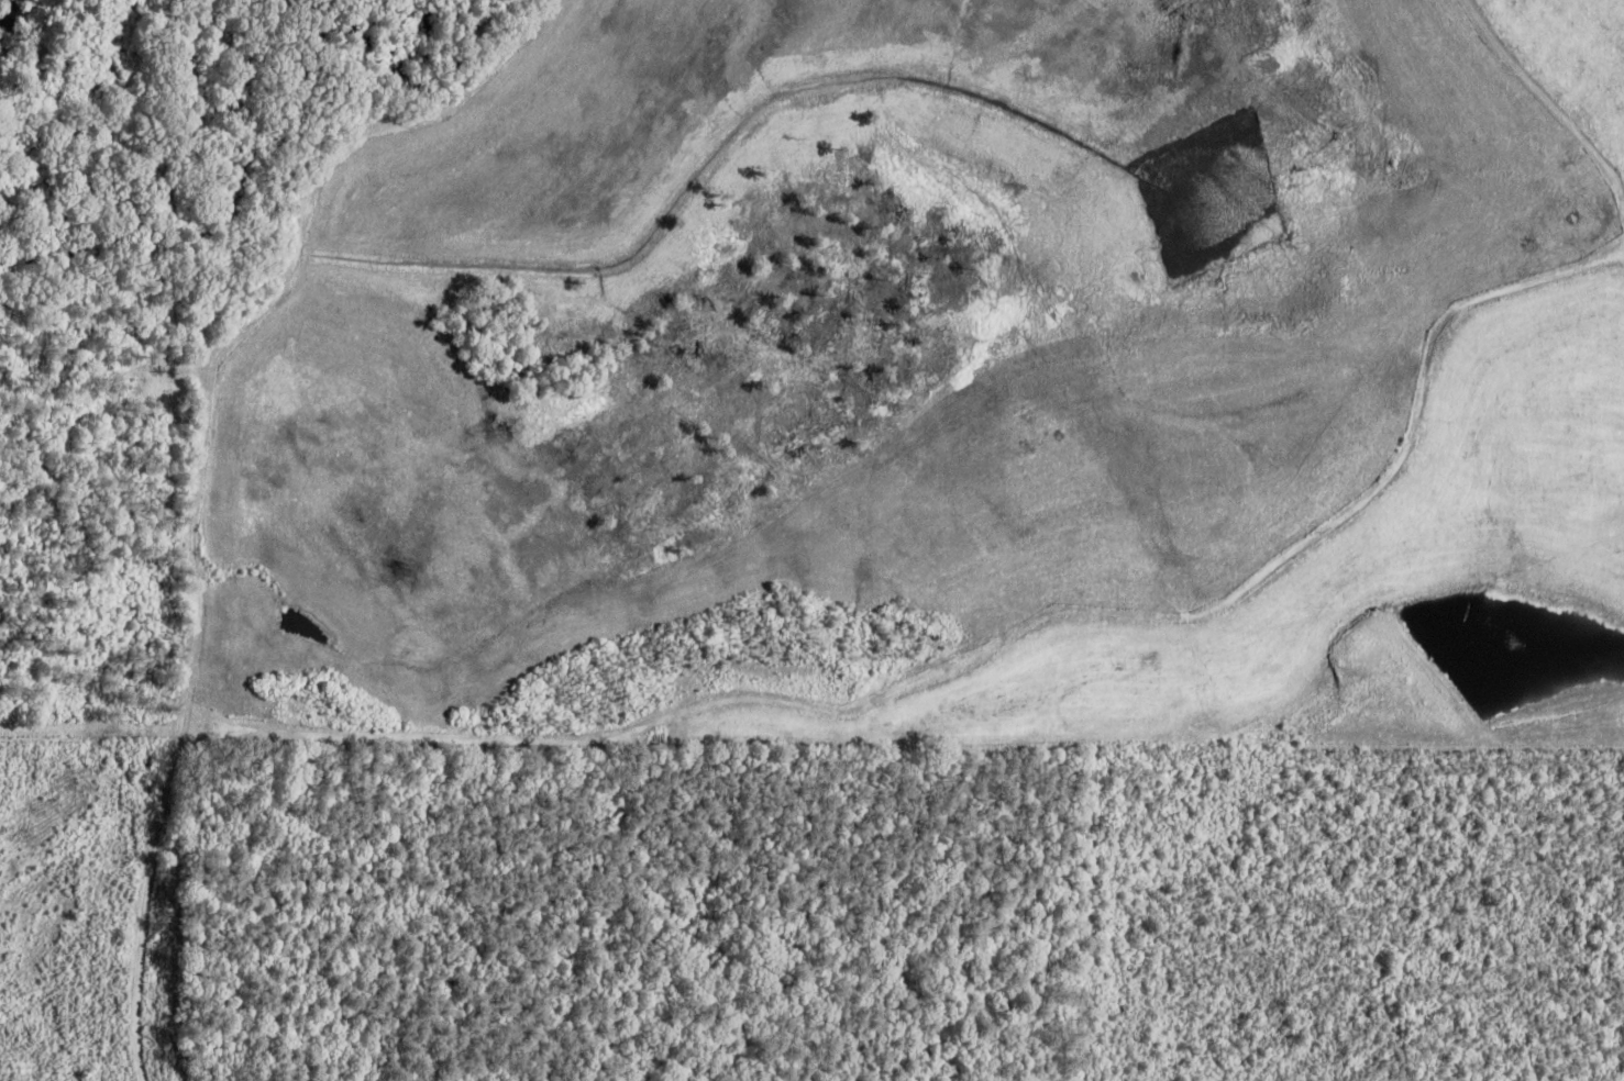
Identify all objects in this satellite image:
river: (14, 22)

